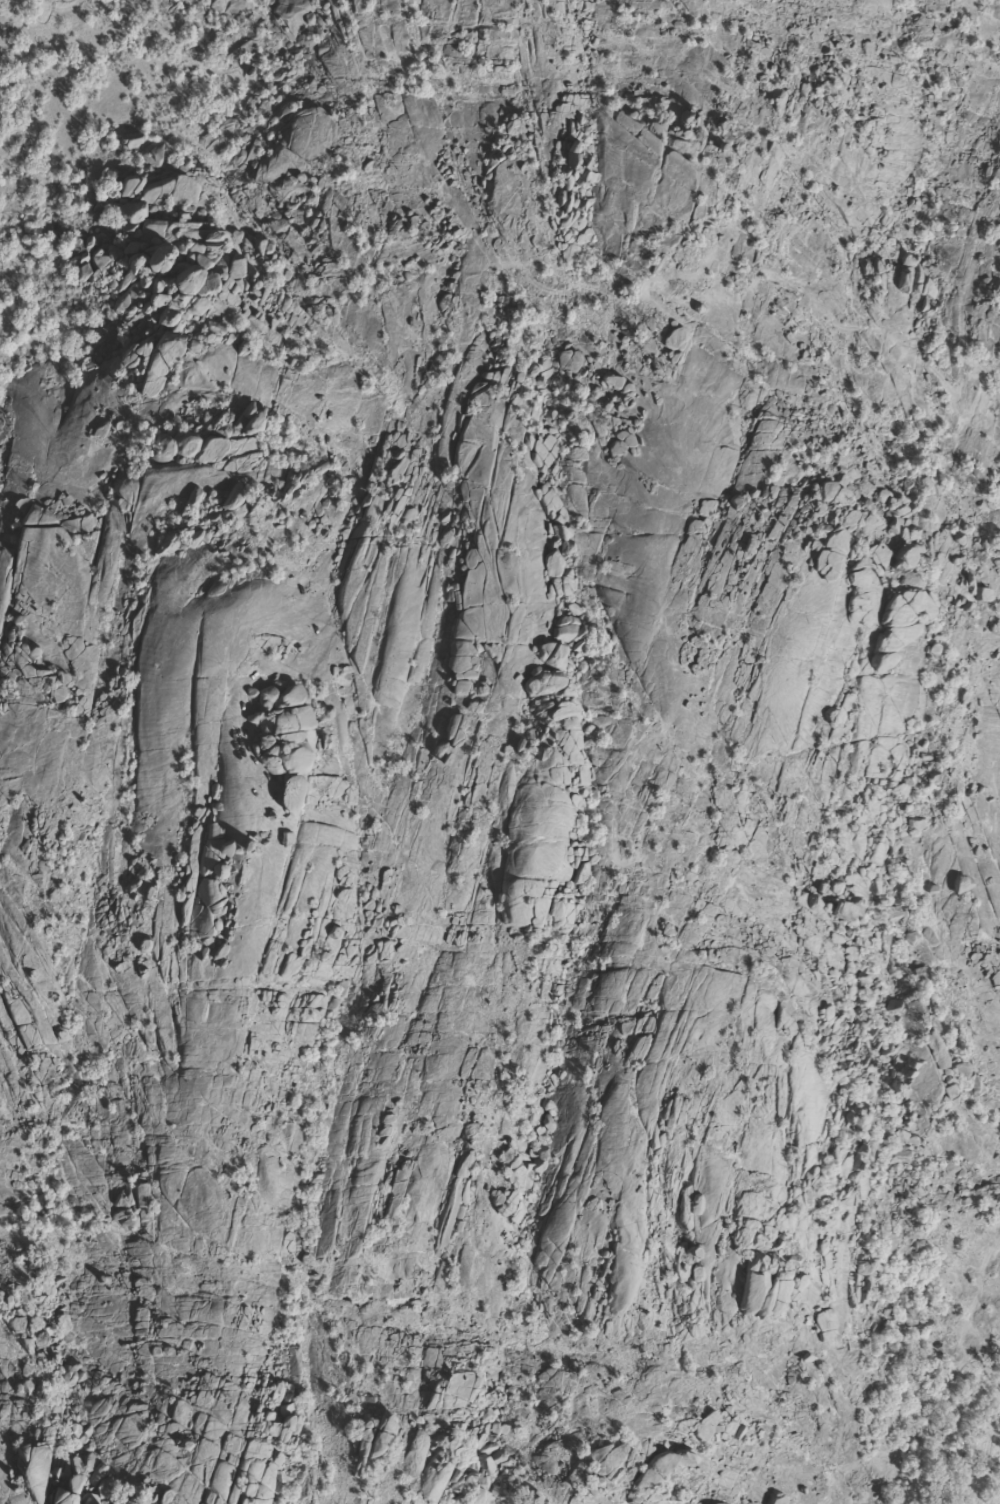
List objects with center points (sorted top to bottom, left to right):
building: (131, 186)
building: (140, 219)
building: (161, 258)
building: (220, 273)
building: (556, 518)
building: (828, 565)
building: (285, 715)

